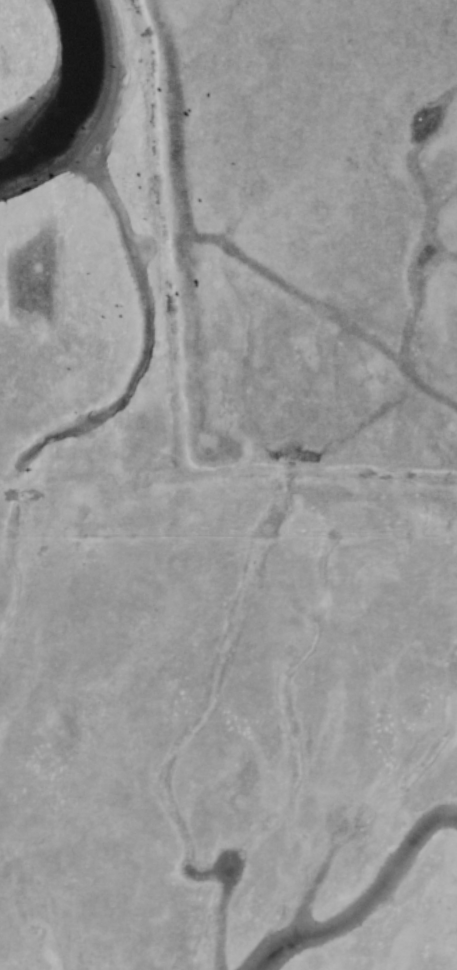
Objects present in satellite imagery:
river: (76, 97)
crop: (228, 753)

